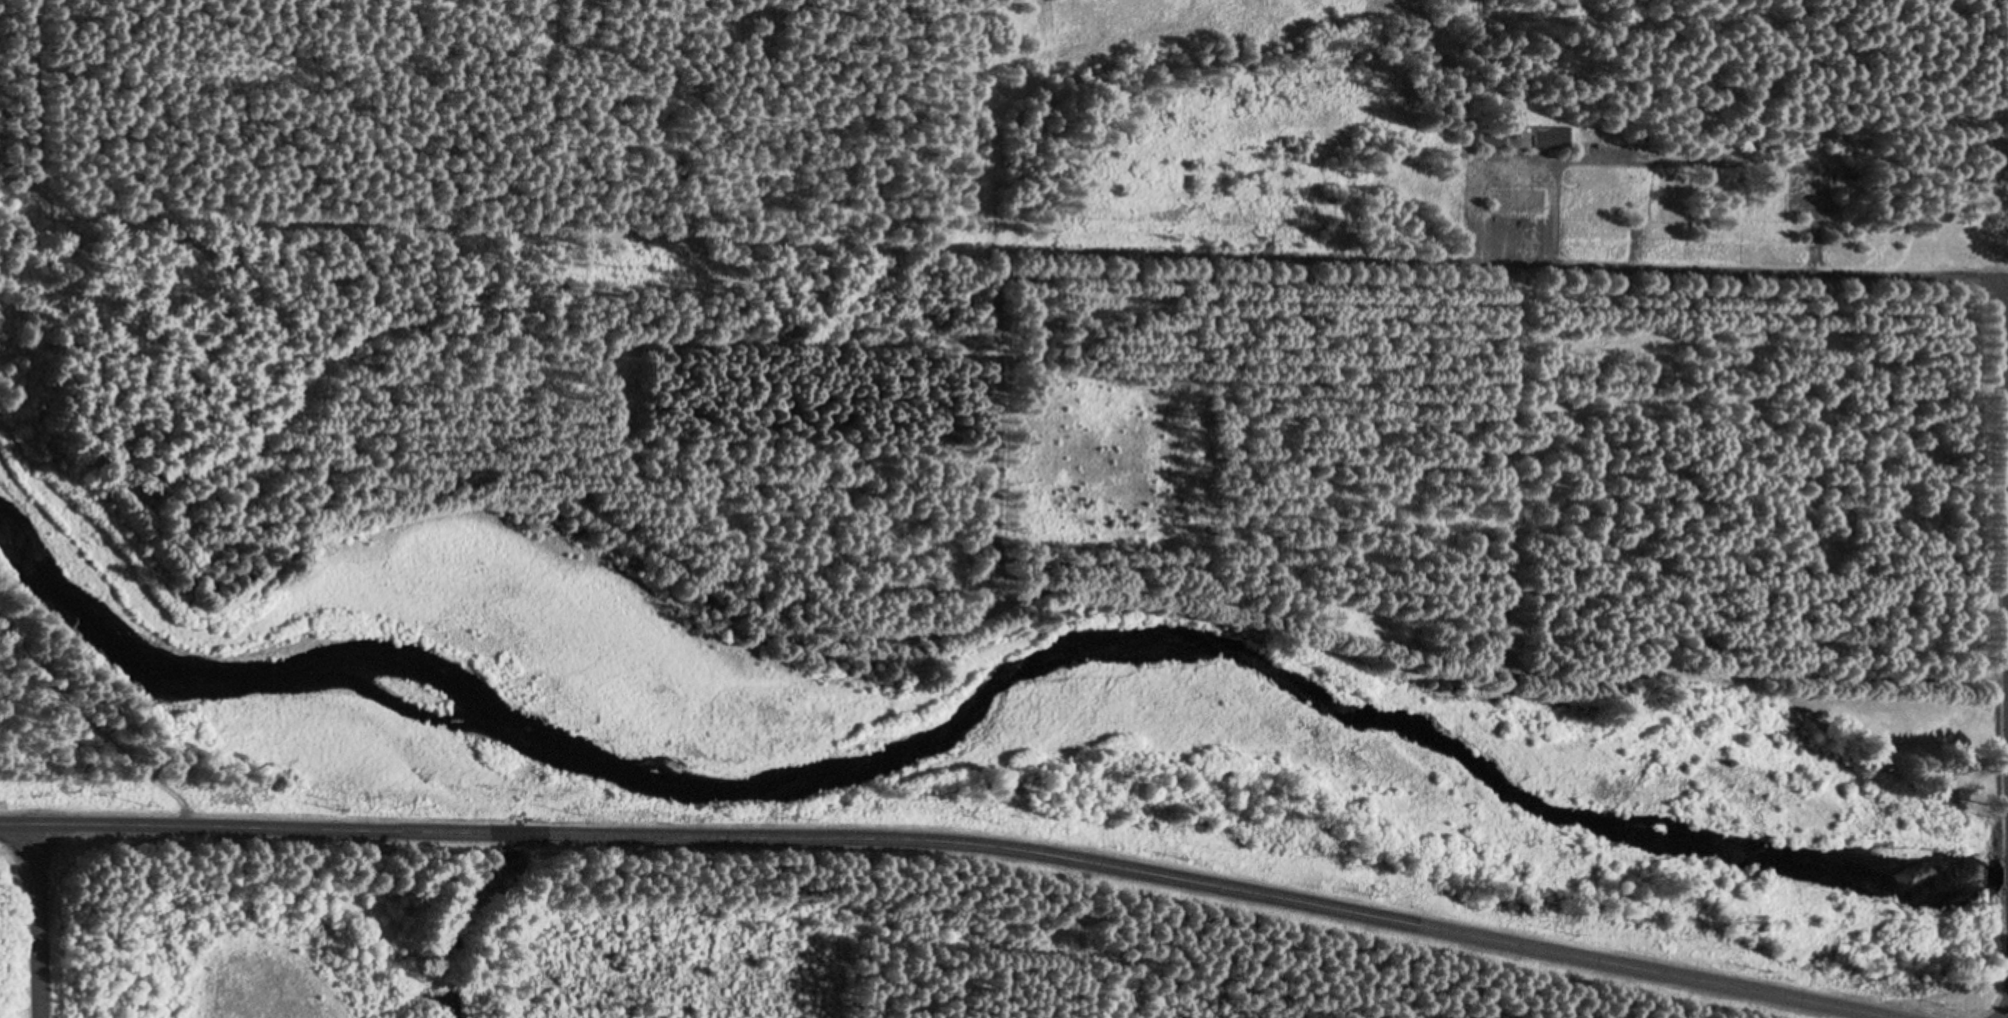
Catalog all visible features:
building: (1551, 139)
building: (1494, 142)
road: (993, 178)
road: (897, 270)
road: (558, 384)
road: (1504, 488)
river: (990, 735)
road: (947, 843)
road: (44, 921)

